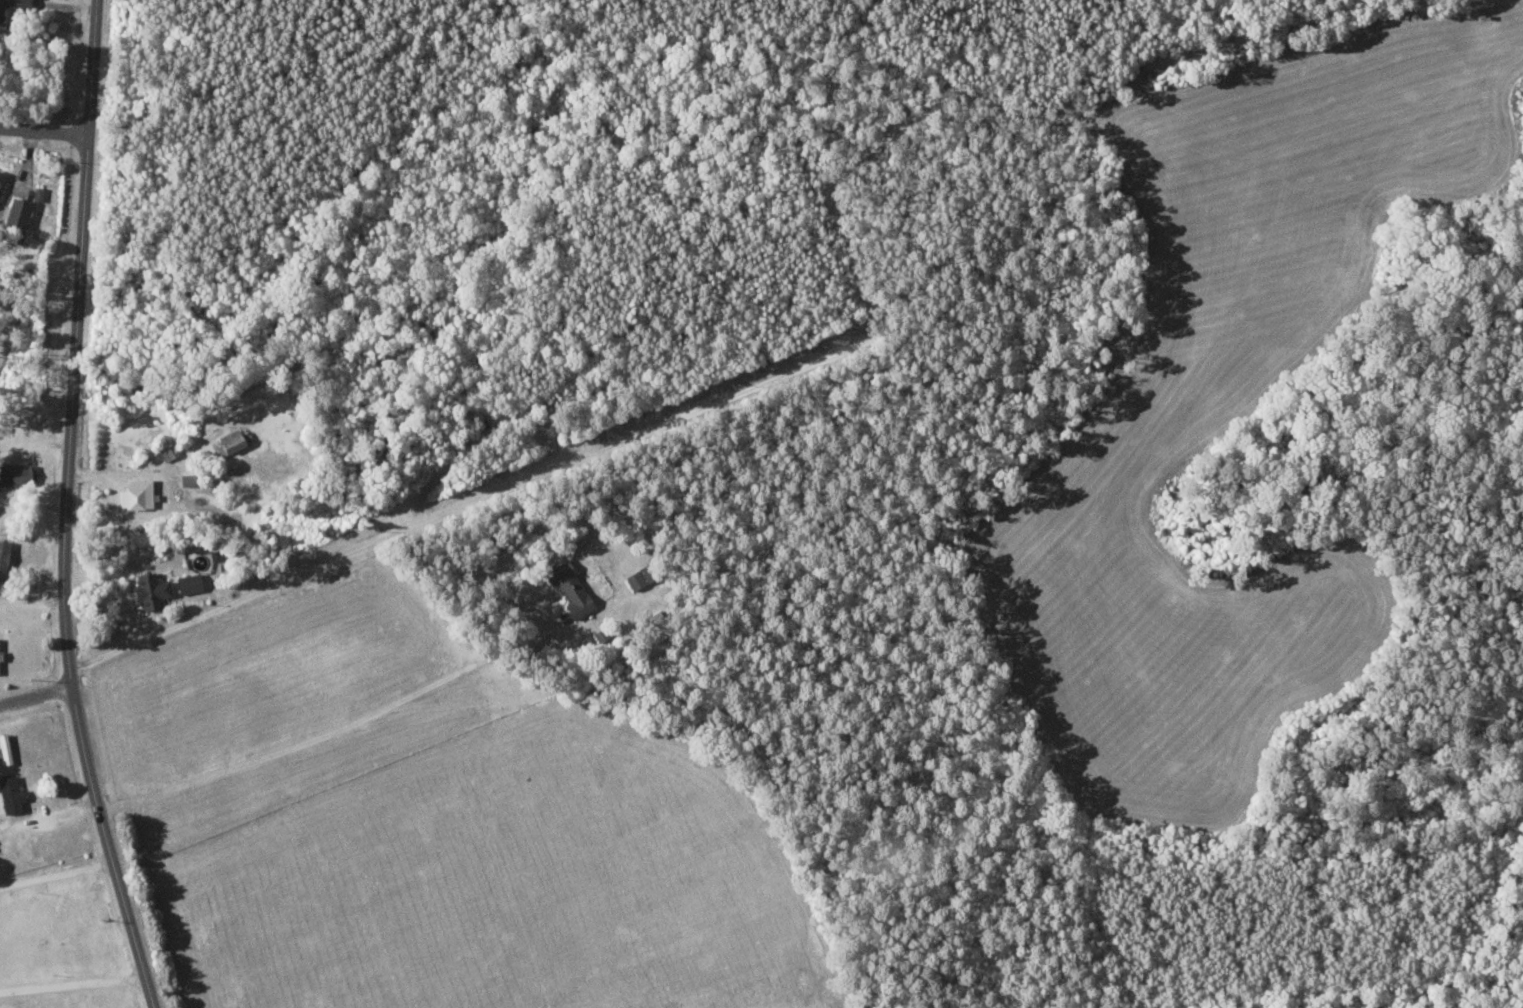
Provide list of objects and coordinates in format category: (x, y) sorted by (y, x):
building: (12, 11)
road: (44, 131)
building: (0, 174)
building: (16, 212)
building: (230, 440)
building: (17, 474)
building: (186, 479)
building: (135, 494)
road: (67, 509)
building: (3, 557)
building: (635, 579)
building: (187, 583)
building: (569, 589)
building: (149, 590)
road: (36, 695)
building: (9, 794)

